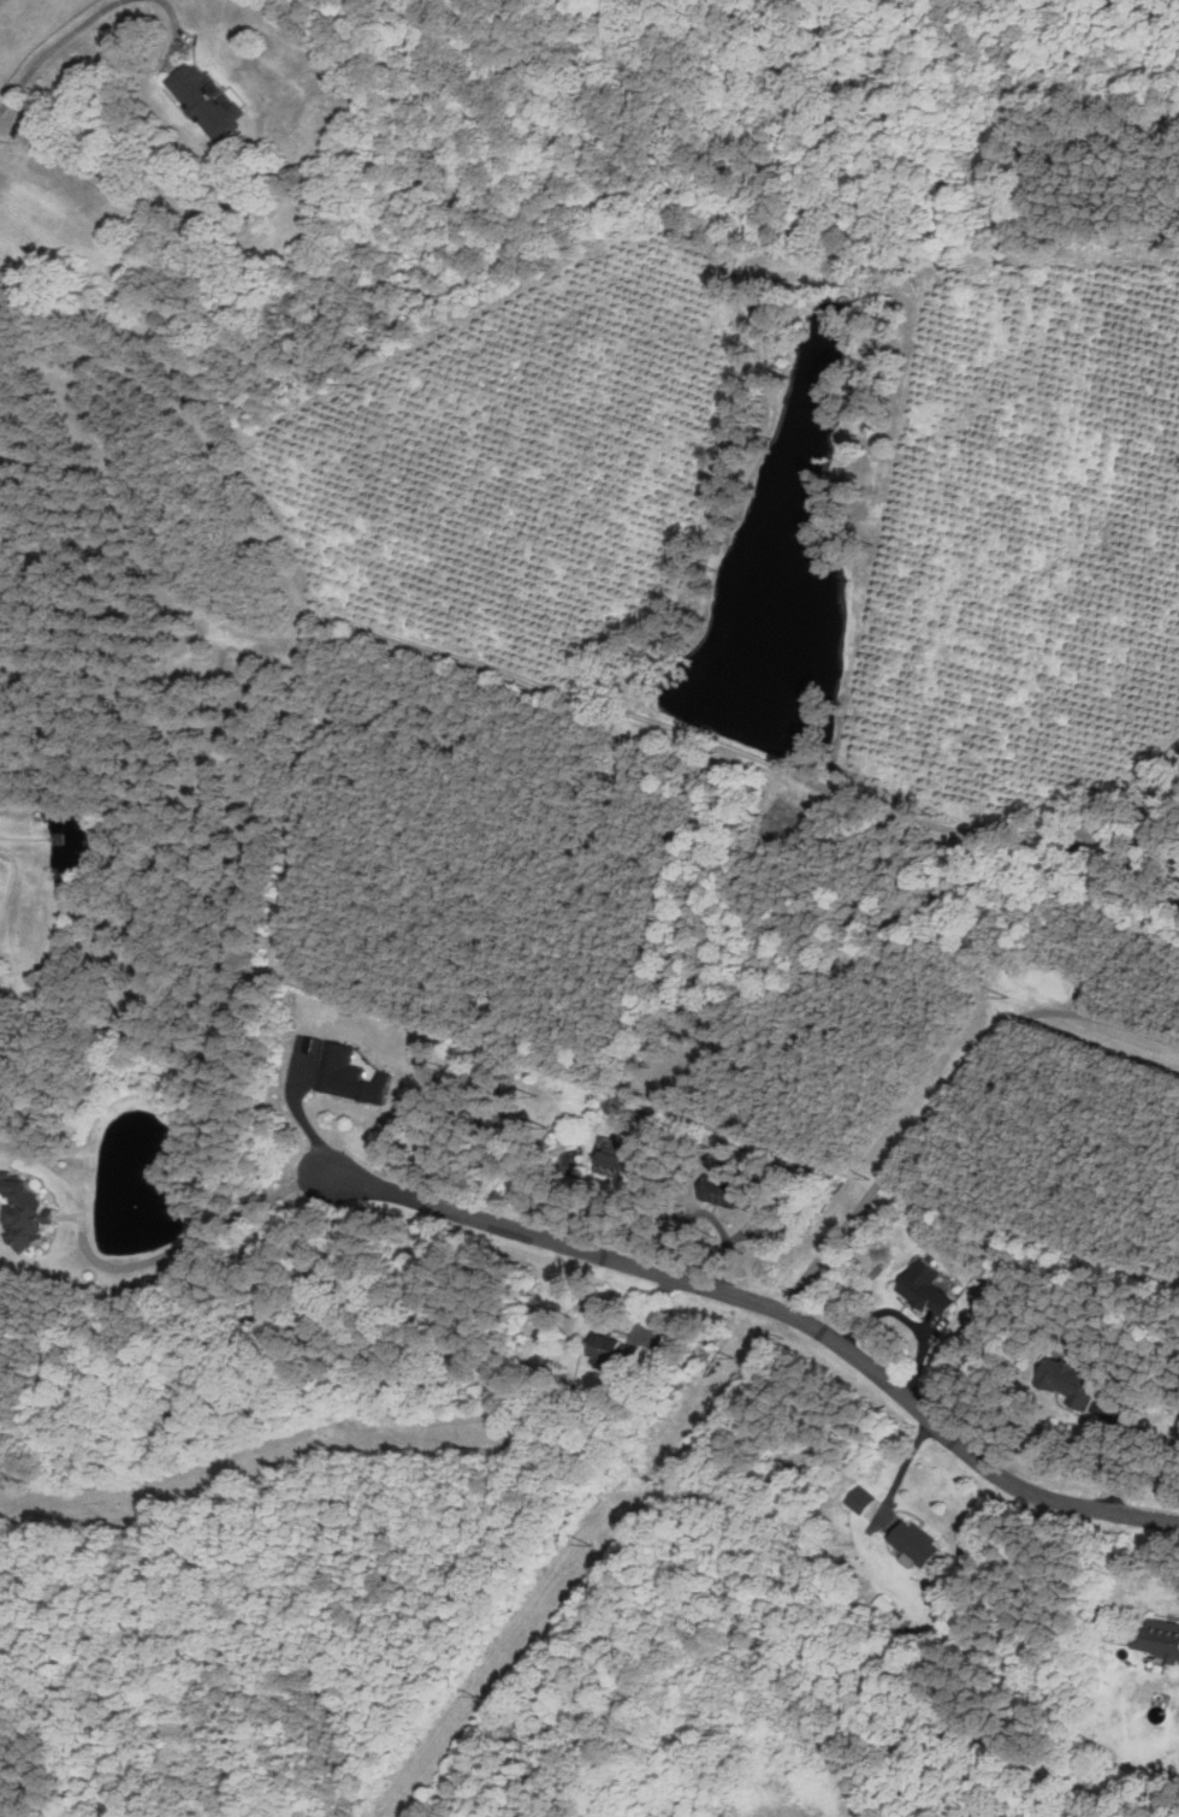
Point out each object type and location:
road: (168, 14)
road: (48, 42)
building: (206, 103)
building: (350, 1076)
road: (948, 1094)
building: (610, 1162)
building: (724, 1192)
road: (82, 1195)
building: (28, 1211)
road: (220, 1226)
building: (925, 1290)
road: (776, 1306)
building: (616, 1351)
building: (1064, 1380)
building: (913, 1543)
building: (1159, 1638)

